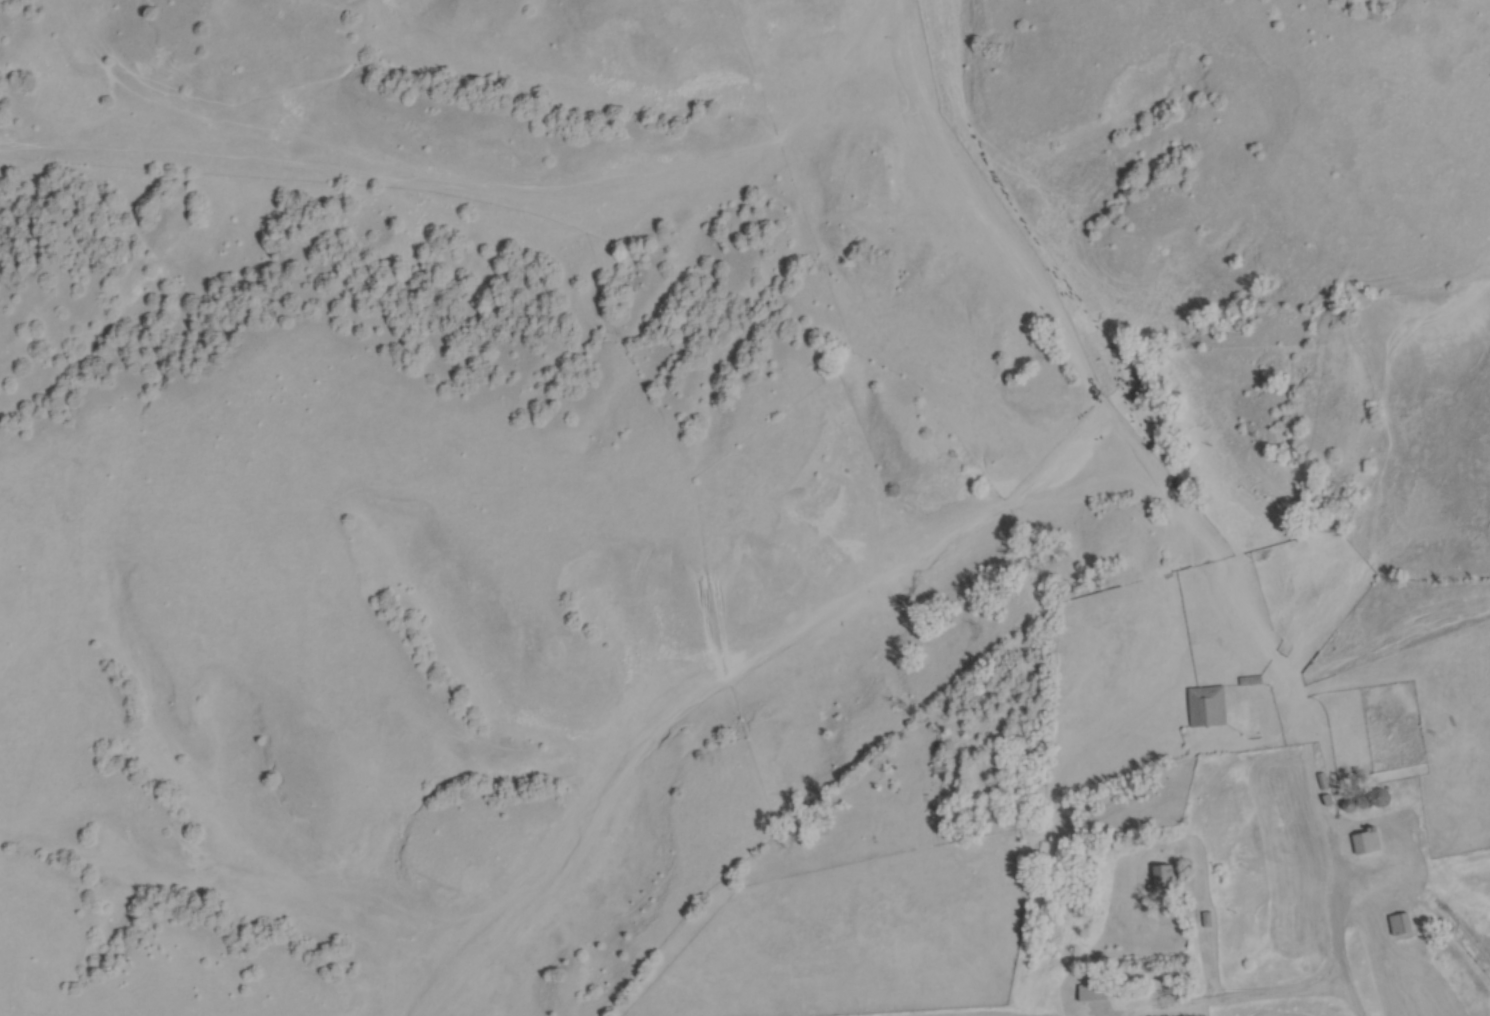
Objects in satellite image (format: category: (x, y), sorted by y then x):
building: (1324, 551)
building: (1209, 709)
building: (1369, 846)
building: (1168, 882)
building: (1401, 927)
road: (1268, 991)
building: (1096, 999)

